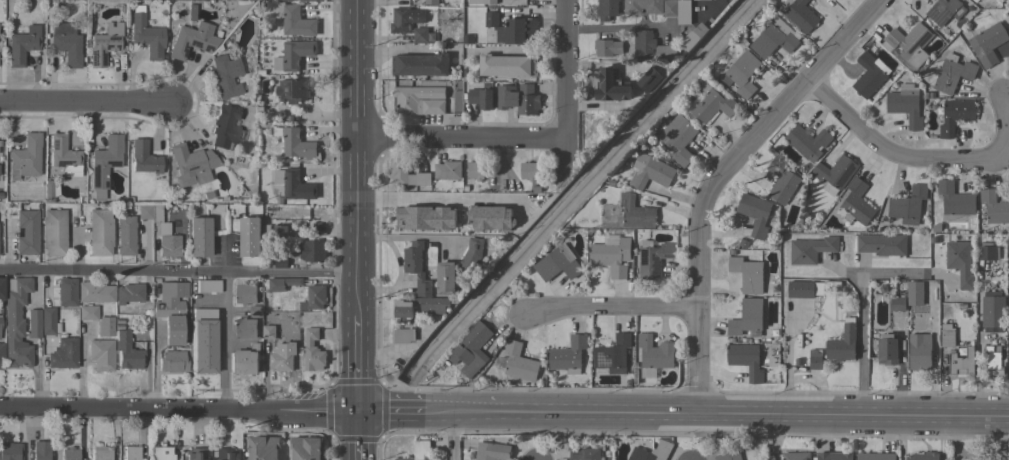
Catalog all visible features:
building: (306, 0)
building: (975, 1)
building: (431, 2)
building: (489, 2)
building: (643, 6)
building: (670, 8)
building: (608, 9)
building: (945, 11)
building: (683, 12)
building: (799, 14)
building: (291, 18)
building: (406, 19)
road: (619, 28)
building: (512, 29)
building: (146, 34)
building: (420, 35)
building: (693, 36)
building: (466, 39)
building: (775, 39)
building: (192, 40)
building: (65, 43)
building: (910, 43)
building: (988, 43)
building: (22, 45)
building: (653, 47)
building: (102, 48)
building: (607, 48)
building: (294, 54)
building: (420, 65)
building: (507, 65)
road: (566, 70)
building: (260, 72)
building: (742, 73)
building: (870, 74)
building: (953, 74)
building: (225, 76)
building: (648, 79)
building: (612, 85)
building: (262, 88)
building: (292, 90)
building: (481, 98)
building: (518, 98)
building: (417, 101)
building: (712, 103)
building: (905, 104)
road: (85, 105)
building: (954, 115)
building: (225, 127)
building: (678, 138)
road: (460, 140)
building: (808, 142)
building: (295, 143)
building: (64, 156)
building: (25, 157)
building: (144, 157)
road: (354, 157)
road: (915, 157)
building: (104, 163)
building: (191, 164)
building: (448, 170)
building: (475, 170)
building: (528, 170)
building: (652, 172)
building: (835, 173)
building: (406, 174)
road: (705, 175)
building: (781, 181)
building: (294, 184)
building: (465, 189)
building: (536, 189)
building: (50, 191)
road: (434, 195)
building: (955, 200)
building: (856, 204)
building: (907, 204)
building: (537, 206)
building: (994, 207)
building: (144, 211)
building: (413, 212)
building: (461, 213)
building: (636, 213)
building: (755, 213)
building: (449, 215)
building: (490, 218)
building: (936, 228)
building: (275, 230)
building: (27, 232)
building: (100, 232)
building: (53, 233)
building: (164, 234)
building: (125, 235)
building: (199, 236)
building: (250, 236)
road: (403, 236)
building: (1008, 239)
building: (934, 240)
building: (742, 244)
building: (882, 244)
building: (811, 249)
building: (309, 250)
road: (75, 251)
building: (987, 253)
road: (225, 254)
building: (611, 255)
building: (471, 256)
building: (653, 257)
building: (280, 262)
building: (960, 262)
building: (557, 263)
building: (416, 267)
road: (177, 274)
building: (747, 274)
building: (446, 278)
building: (1008, 281)
building: (282, 283)
building: (208, 286)
building: (1, 288)
building: (799, 289)
building: (66, 291)
building: (95, 292)
building: (129, 293)
building: (246, 293)
building: (915, 293)
building: (316, 296)
building: (898, 302)
building: (433, 305)
building: (170, 310)
building: (255, 311)
building: (993, 311)
building: (87, 313)
road: (608, 314)
road: (862, 314)
building: (747, 318)
building: (48, 321)
building: (118, 321)
building: (15, 322)
building: (403, 322)
building: (33, 323)
building: (105, 326)
building: (118, 327)
building: (246, 328)
building: (269, 332)
building: (947, 335)
building: (969, 336)
building: (204, 341)
road: (224, 343)
building: (843, 344)
building: (470, 349)
building: (887, 349)
building: (127, 351)
building: (313, 351)
building: (920, 351)
building: (656, 352)
building: (63, 353)
building: (101, 354)
building: (568, 355)
building: (1, 356)
building: (612, 356)
building: (244, 360)
building: (746, 360)
building: (173, 361)
building: (281, 361)
building: (519, 362)
building: (797, 362)
building: (815, 362)
building: (962, 362)
building: (994, 363)
road: (354, 365)
road: (153, 366)
road: (82, 367)
building: (647, 372)
road: (176, 412)
traffic signals: (354, 414)
road: (391, 414)
road: (718, 414)
road: (354, 437)
road: (457, 437)
road: (538, 437)
road: (691, 437)
building: (263, 447)
building: (305, 448)
building: (40, 450)
building: (419, 450)
building: (10, 451)
building: (491, 451)
building: (131, 452)
building: (652, 452)
building: (82, 453)
building: (101, 453)
building: (161, 453)
building: (725, 453)
building: (69, 454)
building: (194, 454)
building: (224, 454)
building: (583, 454)
building: (796, 456)
building: (834, 456)
building: (876, 456)
building: (923, 456)

